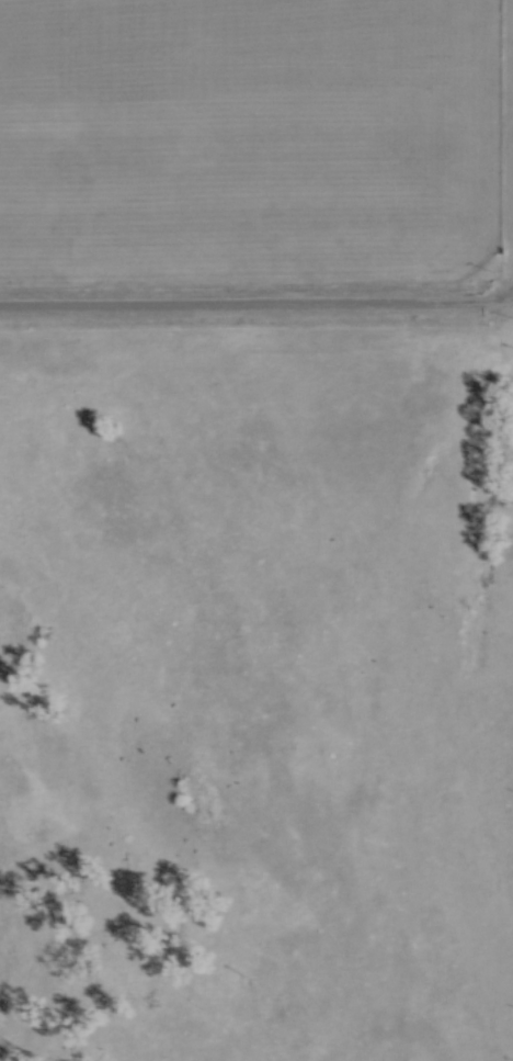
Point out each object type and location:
airport: (255, 167)
road: (256, 303)

